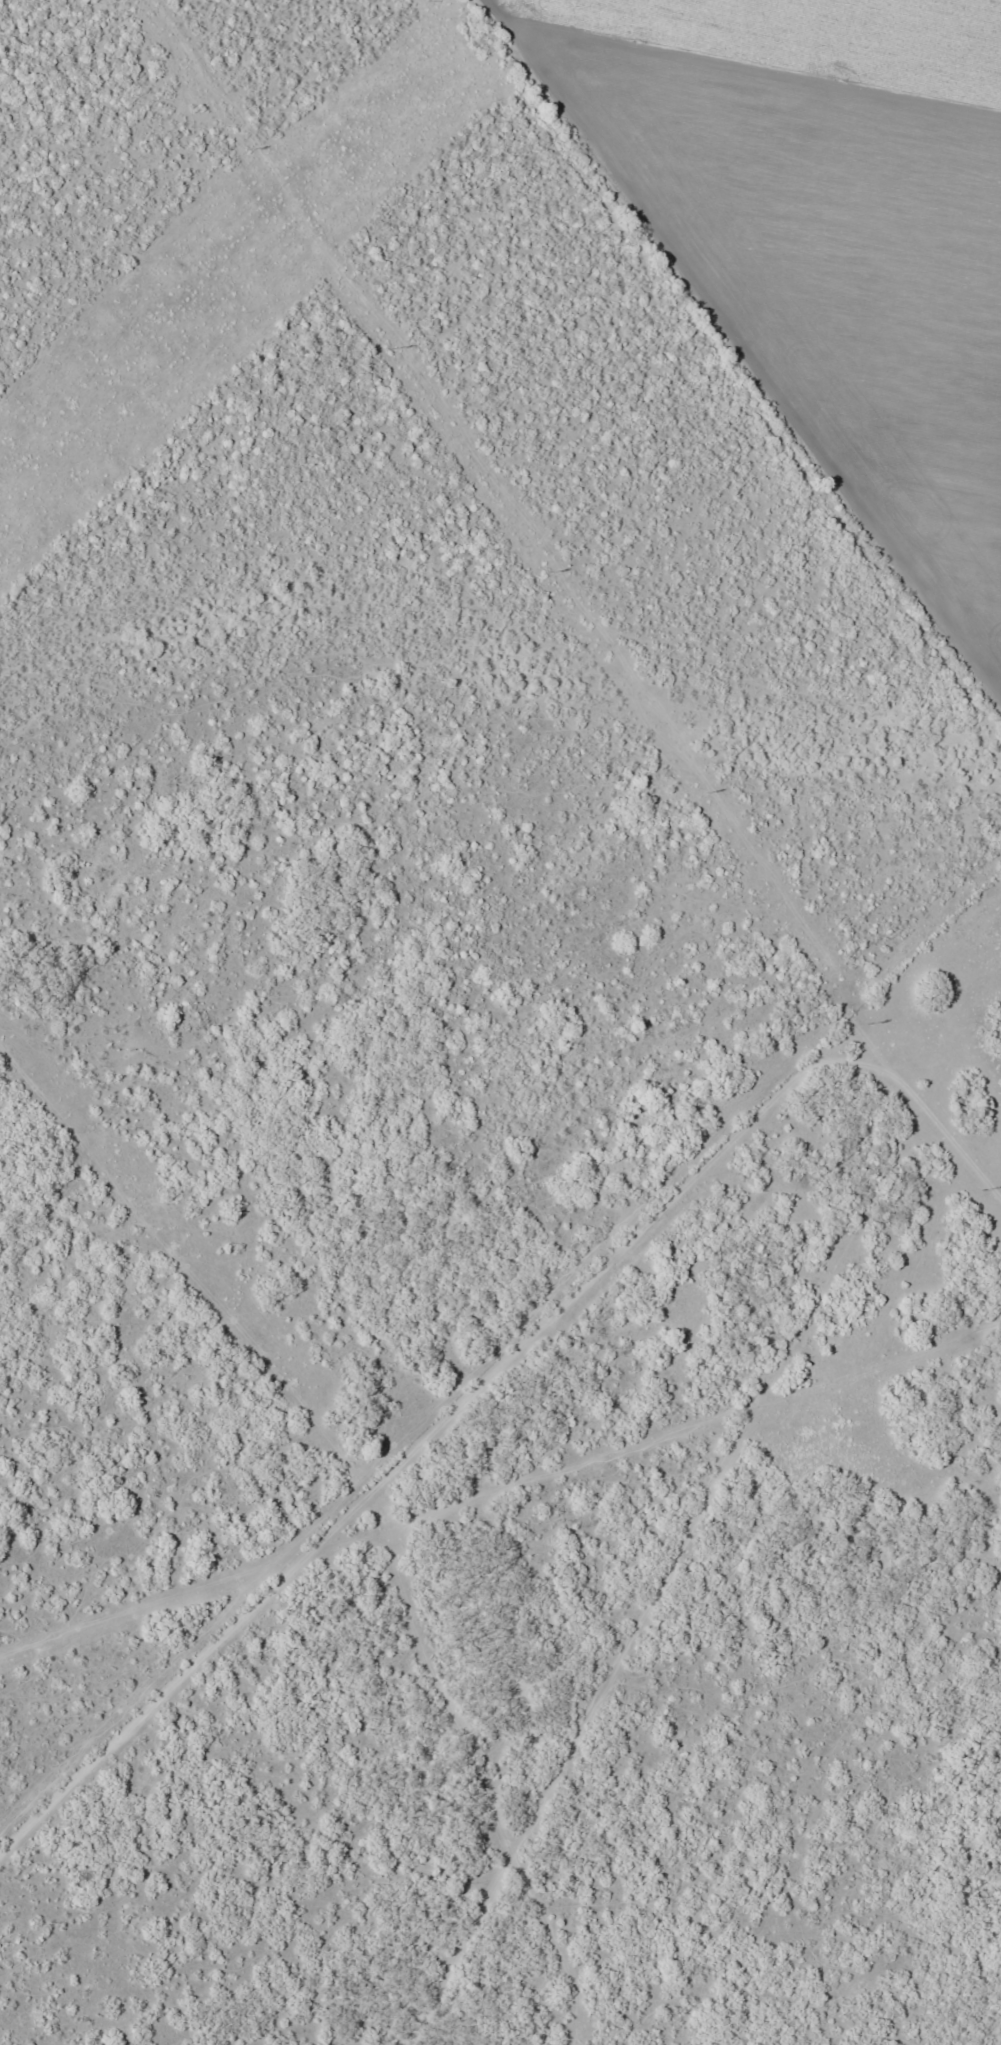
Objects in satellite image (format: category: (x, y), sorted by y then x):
road: (489, 1400)

